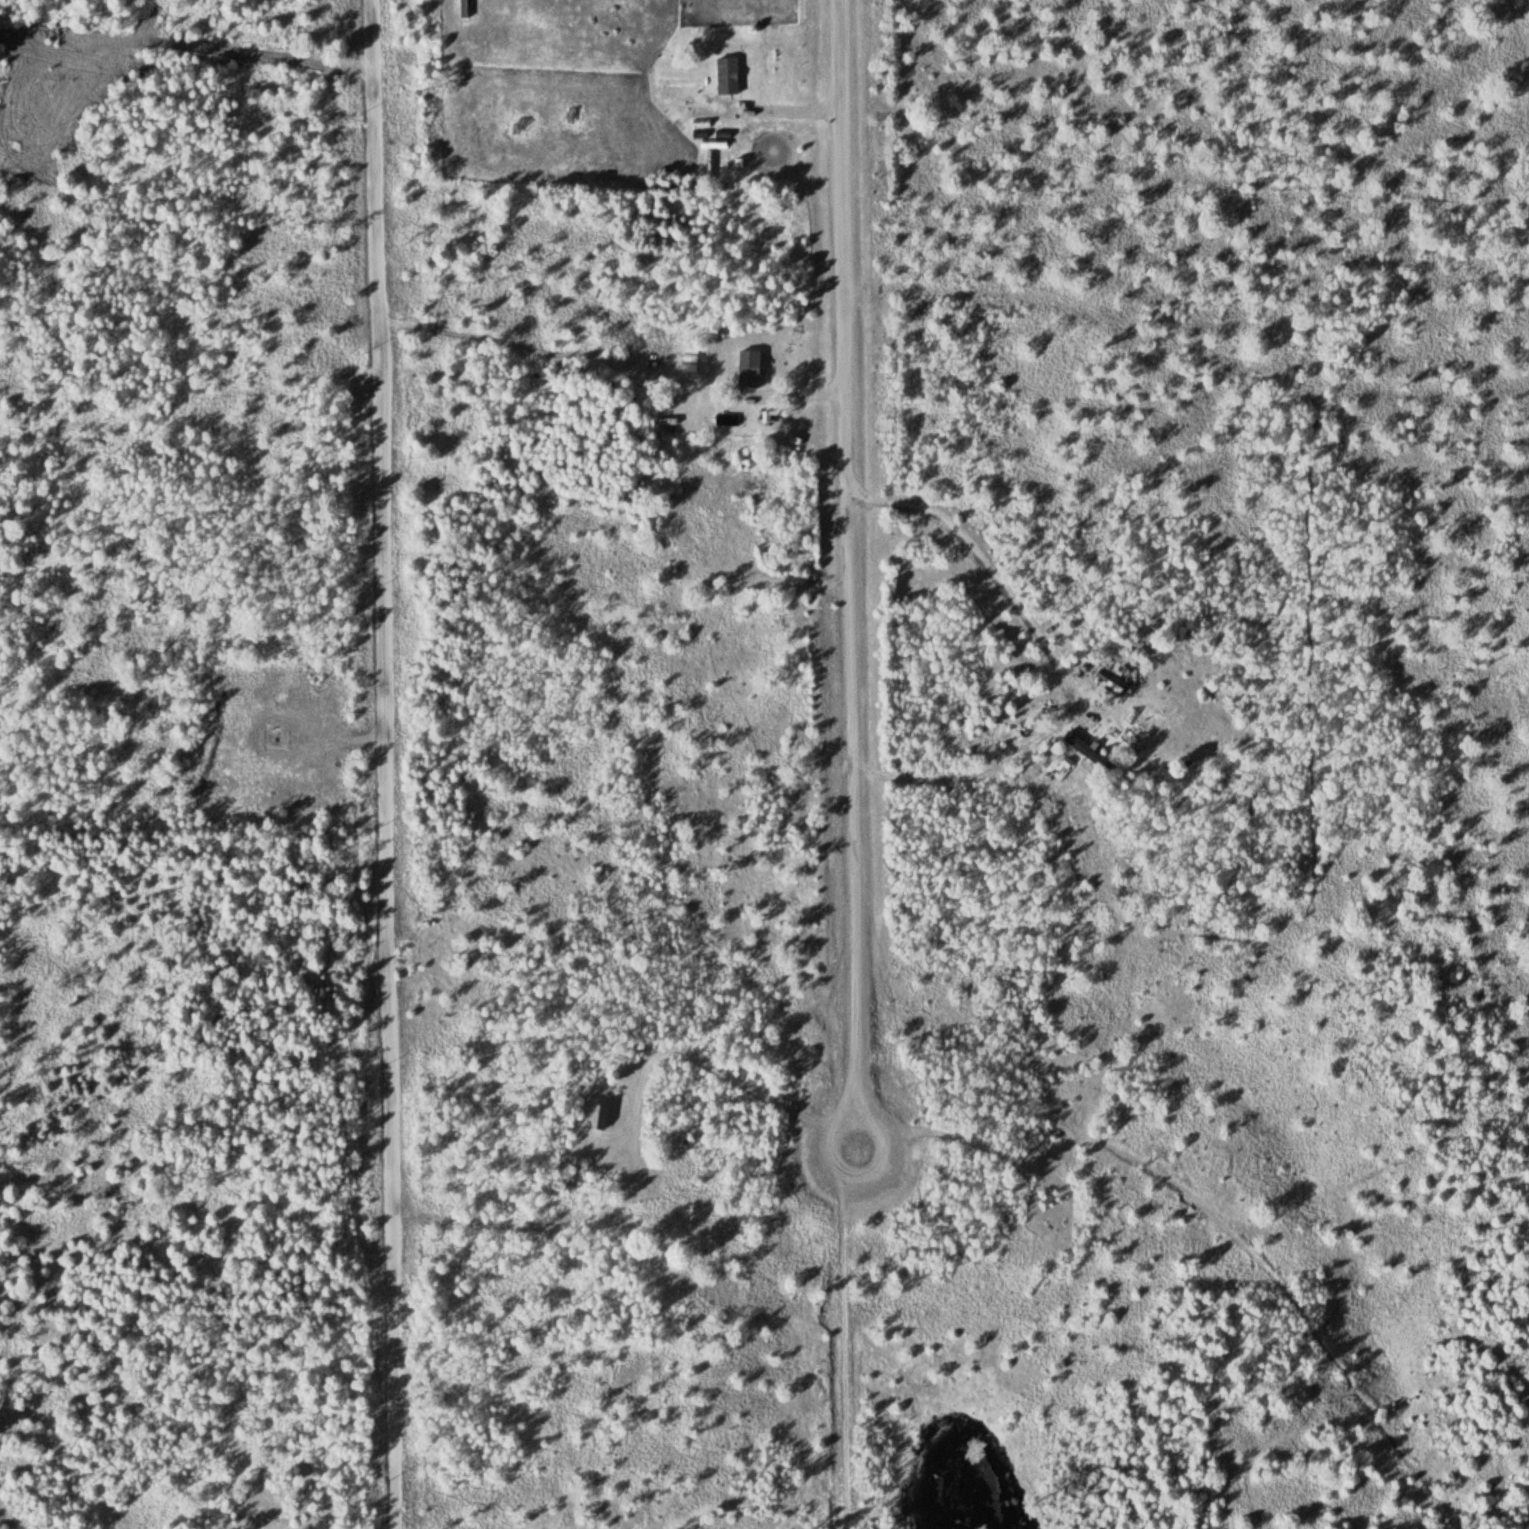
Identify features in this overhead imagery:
building: (726, 76)
building: (747, 369)
road: (847, 575)
building: (1115, 683)
building: (1084, 750)
road: (399, 764)
building: (598, 1117)
road: (1214, 1220)
road: (845, 1339)
road: (1276, 1445)

